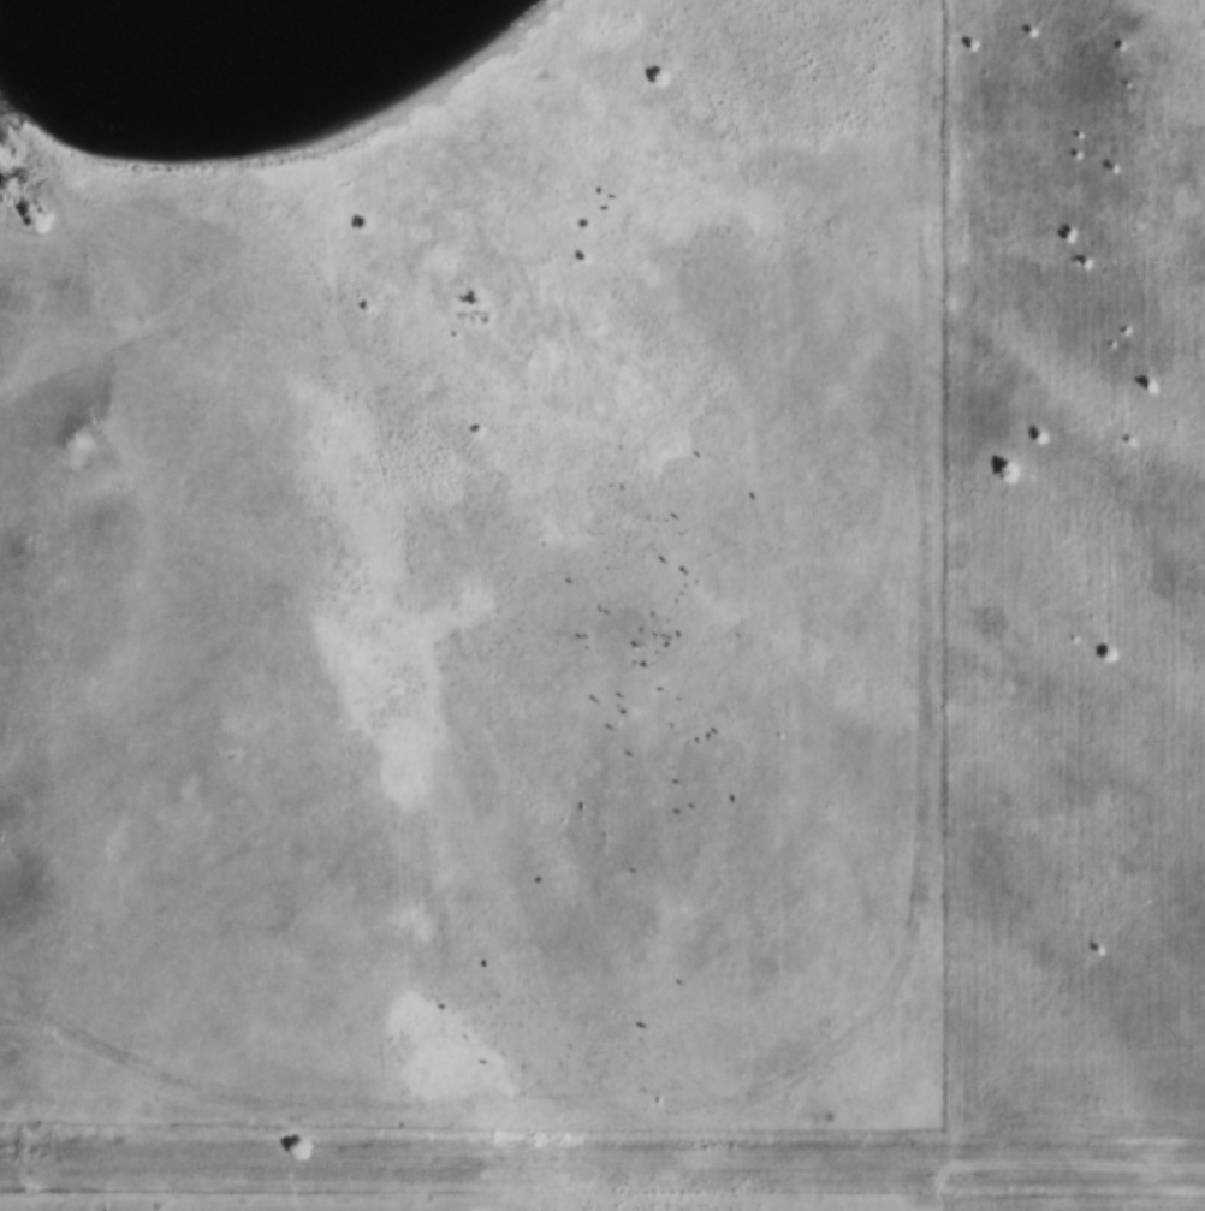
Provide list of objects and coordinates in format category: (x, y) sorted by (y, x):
road: (602, 1154)

